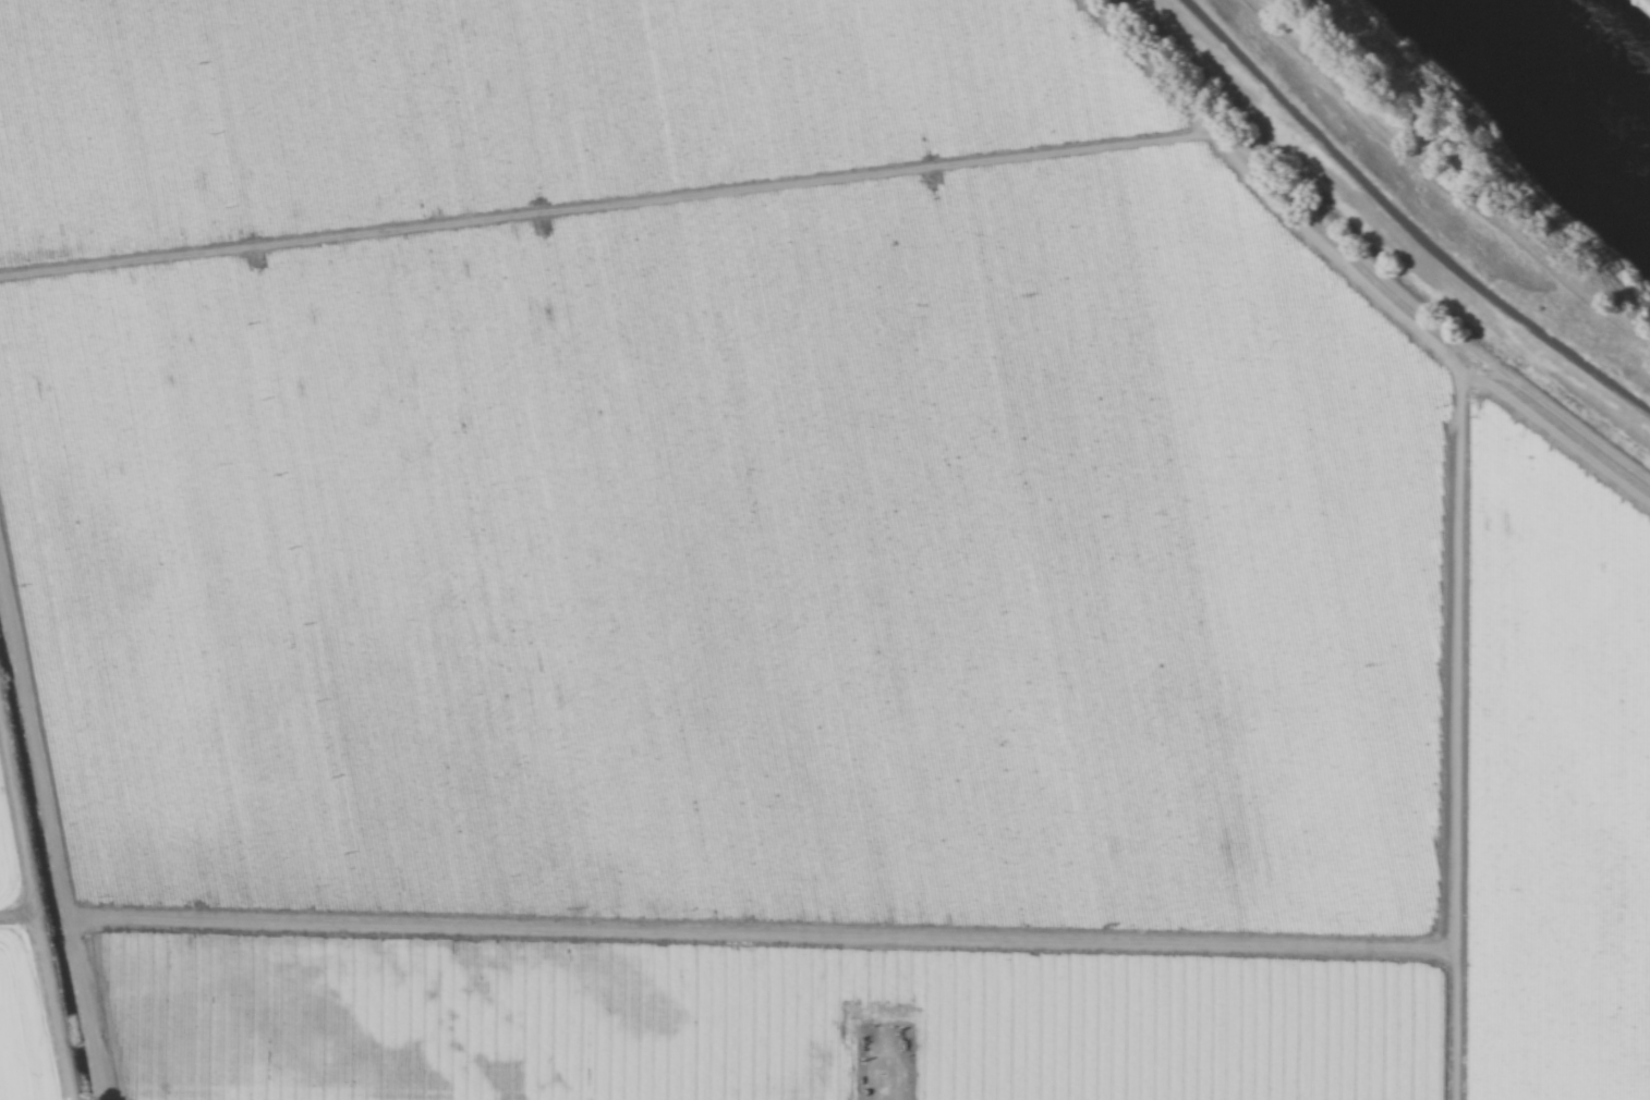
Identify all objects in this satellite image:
river: (1572, 72)
road: (1408, 220)

